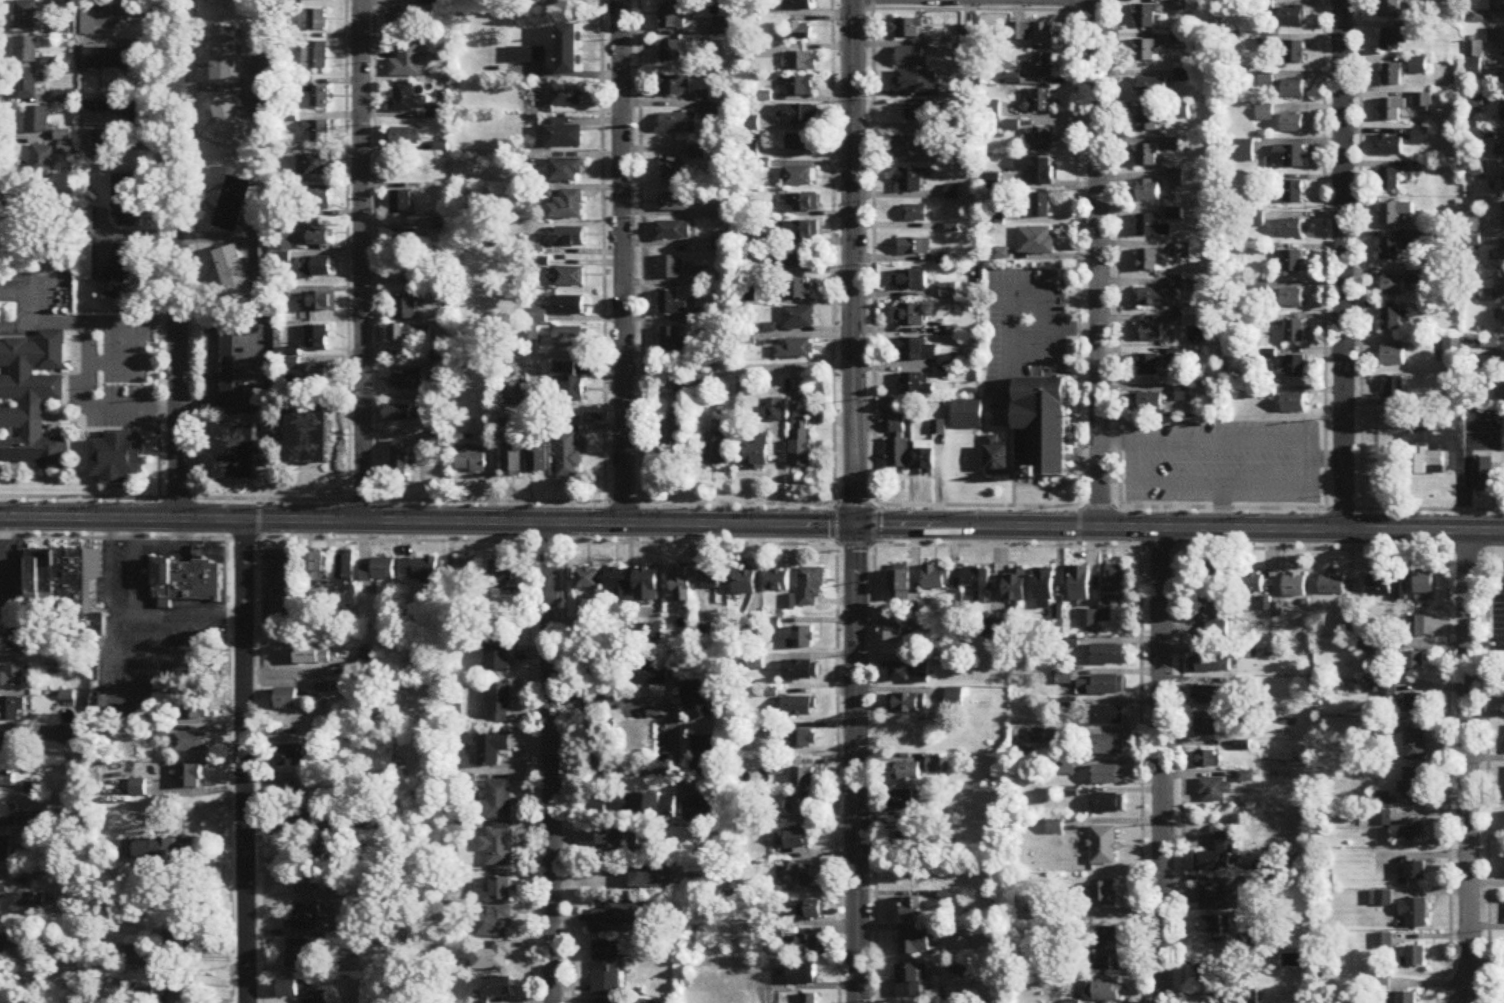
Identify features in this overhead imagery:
building: (126, 0)
building: (224, 0)
building: (317, 0)
building: (554, 3)
building: (796, 6)
building: (1497, 7)
road: (978, 8)
building: (1390, 8)
building: (27, 16)
building: (675, 17)
building: (1290, 17)
building: (1146, 19)
building: (313, 21)
building: (400, 24)
building: (724, 28)
building: (910, 29)
building: (800, 32)
building: (1033, 35)
building: (1496, 39)
building: (1394, 41)
building: (969, 48)
building: (27, 51)
building: (568, 51)
building: (671, 52)
building: (1146, 52)
building: (1294, 53)
building: (224, 55)
building: (315, 56)
building: (112, 58)
building: (912, 58)
building: (526, 60)
building: (407, 62)
building: (803, 62)
building: (1043, 67)
building: (1418, 67)
building: (1391, 75)
building: (1502, 78)
building: (917, 82)
building: (27, 86)
building: (676, 86)
building: (800, 87)
building: (1152, 89)
building: (1293, 90)
building: (567, 97)
building: (68, 98)
building: (321, 98)
building: (406, 99)
building: (1039, 102)
building: (1422, 104)
building: (1473, 105)
building: (1392, 110)
building: (918, 111)
building: (1502, 112)
building: (112, 114)
building: (799, 115)
building: (37, 121)
building: (1148, 122)
building: (678, 124)
building: (1292, 125)
building: (1011, 127)
building: (232, 130)
building: (319, 130)
road: (12, 136)
building: (564, 137)
building: (1421, 137)
building: (403, 138)
building: (1042, 141)
building: (799, 143)
building: (92, 146)
building: (910, 146)
building: (1391, 146)
building: (1499, 151)
building: (1147, 157)
building: (1289, 158)
building: (42, 161)
building: (314, 166)
building: (566, 171)
building: (671, 171)
building: (1036, 171)
building: (799, 177)
building: (911, 180)
building: (1175, 180)
building: (1391, 180)
building: (992, 182)
building: (1148, 191)
building: (1293, 193)
building: (318, 199)
building: (127, 201)
building: (401, 203)
building: (676, 203)
building: (803, 203)
building: (16, 205)
building: (233, 205)
building: (568, 206)
building: (1042, 206)
building: (916, 214)
building: (1394, 214)
building: (1503, 216)
building: (86, 221)
building: (1150, 226)
building: (1291, 229)
building: (802, 230)
building: (674, 232)
building: (570, 238)
building: (321, 239)
building: (399, 239)
building: (1036, 242)
building: (915, 247)
road: (157, 248)
road: (194, 248)
road: (346, 249)
road: (375, 249)
building: (1395, 250)
road: (1116, 252)
building: (1502, 253)
road: (176, 258)
building: (1148, 258)
road: (360, 259)
building: (796, 259)
road: (622, 260)
road: (852, 261)
road: (1098, 262)
building: (1292, 263)
road: (1341, 264)
building: (316, 267)
building: (405, 269)
building: (671, 269)
road: (603, 271)
road: (640, 271)
road: (872, 271)
building: (118, 272)
road: (832, 272)
road: (1323, 274)
road: (1359, 274)
building: (232, 275)
building: (701, 277)
road: (1076, 277)
building: (570, 278)
building: (911, 281)
building: (1500, 284)
road: (1025, 288)
building: (1392, 288)
building: (797, 290)
building: (1152, 298)
building: (1292, 300)
building: (319, 303)
building: (671, 305)
building: (570, 306)
building: (404, 307)
building: (1503, 312)
building: (909, 317)
building: (799, 318)
building: (1391, 321)
road: (74, 322)
building: (1152, 332)
building: (1294, 333)
building: (409, 335)
building: (570, 338)
building: (317, 339)
building: (122, 343)
building: (673, 344)
building: (796, 351)
building: (918, 352)
building: (1453, 352)
building: (1392, 358)
building: (1502, 363)
building: (227, 364)
building: (1148, 367)
building: (1292, 369)
building: (705, 375)
building: (319, 377)
building: (406, 381)
building: (916, 385)
building: (571, 386)
building: (1393, 389)
building: (1503, 394)
building: (31, 402)
building: (1150, 403)
building: (1293, 405)
road: (90, 407)
building: (775, 412)
building: (401, 414)
building: (966, 416)
building: (897, 427)
building: (939, 428)
building: (1041, 428)
building: (670, 437)
building: (308, 438)
road: (1131, 438)
road: (1114, 440)
building: (801, 443)
building: (717, 447)
building: (568, 449)
building: (236, 454)
building: (758, 455)
building: (898, 455)
road: (1325, 458)
building: (116, 459)
building: (513, 459)
building: (924, 459)
building: (538, 460)
parking lot: (1221, 460)
building: (996, 461)
building: (471, 462)
building: (399, 464)
building: (1426, 464)
road: (1457, 471)
building: (1482, 476)
road: (1104, 480)
road: (752, 502)
road: (752, 522)
traffic signals: (854, 523)
road: (752, 543)
road: (111, 565)
road: (133, 565)
building: (320, 566)
building: (420, 567)
building: (346, 570)
building: (378, 570)
building: (462, 572)
building: (501, 572)
building: (712, 578)
building: (936, 578)
building: (588, 579)
building: (744, 579)
building: (185, 580)
building: (777, 580)
building: (1114, 581)
building: (617, 582)
building: (1078, 582)
building: (977, 583)
building: (1043, 583)
building: (1252, 583)
building: (683, 584)
building: (1333, 584)
building: (77, 585)
building: (647, 585)
building: (900, 585)
building: (1015, 585)
building: (811, 586)
building: (1295, 586)
building: (1425, 586)
building: (1389, 590)
building: (1206, 605)
road: (178, 614)
building: (1090, 617)
building: (1352, 620)
building: (1416, 627)
building: (1217, 630)
building: (704, 632)
building: (751, 634)
building: (901, 636)
building: (17, 638)
building: (802, 638)
road: (1485, 645)
building: (1372, 647)
building: (498, 654)
building: (1107, 654)
road: (149, 656)
building: (311, 656)
building: (600, 660)
building: (1219, 661)
building: (756, 663)
building: (1410, 663)
building: (800, 670)
building: (910, 672)
building: (648, 673)
building: (13, 676)
building: (1064, 678)
building: (1102, 685)
building: (325, 688)
building: (1387, 691)
building: (1208, 695)
road: (111, 697)
building: (289, 700)
building: (696, 700)
road: (640, 703)
building: (1415, 703)
building: (500, 704)
building: (906, 704)
building: (191, 707)
building: (799, 707)
building: (12, 709)
building: (1107, 715)
building: (1209, 727)
building: (802, 739)
building: (191, 743)
building: (13, 744)
building: (1107, 744)
building: (1414, 746)
building: (493, 749)
building: (292, 757)
building: (703, 757)
building: (1205, 759)
road: (245, 760)
road: (1466, 760)
road: (553, 762)
road: (856, 763)
building: (935, 765)
road: (1161, 765)
building: (908, 773)
building: (1108, 775)
building: (6, 776)
building: (190, 777)
building: (803, 778)
building: (1413, 784)
building: (1214, 790)
building: (290, 793)
building: (904, 800)
building: (498, 801)
building: (643, 803)
building: (1108, 803)
building: (705, 807)
building: (800, 807)
building: (8, 816)
building: (1410, 830)
building: (793, 840)
building: (618, 841)
building: (909, 844)
building: (499, 845)
building: (1103, 846)
building: (323, 849)
building: (5, 850)
building: (1218, 854)
building: (1415, 870)
building: (652, 876)
building: (802, 876)
building: (308, 884)
building: (501, 889)
building: (4, 891)
building: (1104, 895)
building: (1219, 896)
building: (32, 899)
building: (912, 910)
building: (811, 911)
building: (1414, 913)
building: (618, 915)
building: (305, 920)
building: (495, 923)
building: (1218, 925)
building: (182, 942)
building: (1382, 942)
building: (914, 943)
building: (811, 946)
building: (1105, 947)
building: (297, 954)
building: (3, 955)
building: (1416, 956)
building: (495, 957)
building: (606, 968)
building: (803, 974)
building: (1215, 975)
building: (911, 981)
building: (183, 985)
building: (498, 987)
building: (289, 988)
building: (1105, 991)
building: (1242, 997)
building: (320, 998)
building: (809, 998)
building: (5, 999)

